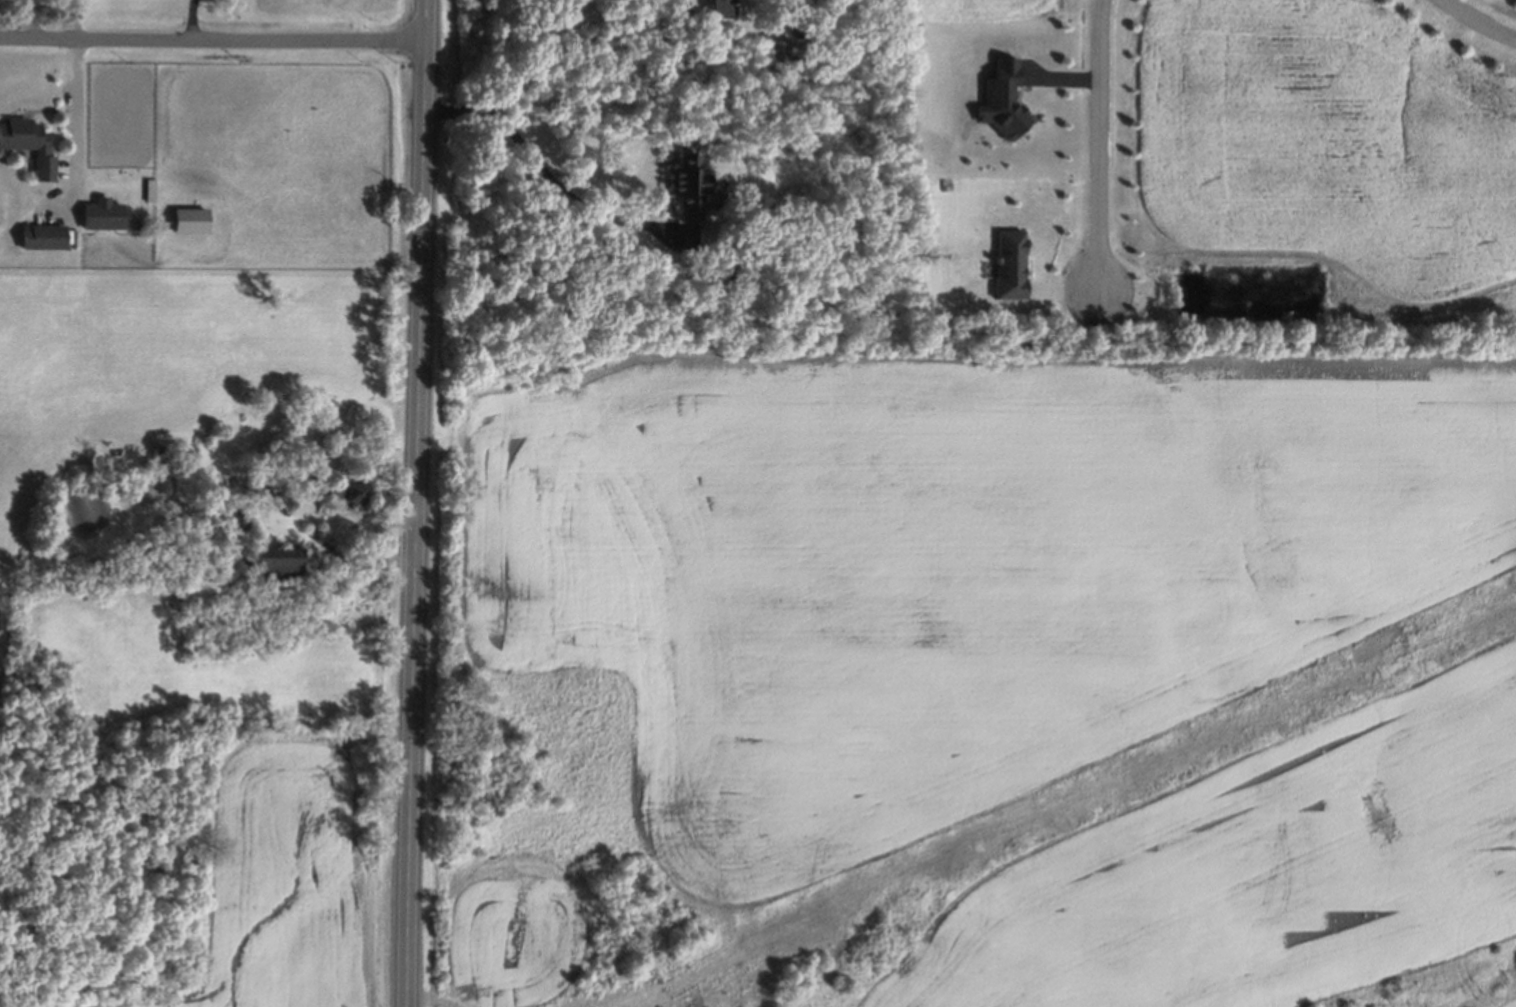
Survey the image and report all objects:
building: (720, 9)
crop: (330, 11)
road: (76, 19)
road: (192, 19)
road: (1483, 19)
road: (213, 39)
building: (1002, 100)
road: (77, 143)
building: (28, 145)
road: (1102, 146)
road: (549, 174)
building: (690, 189)
building: (150, 190)
building: (103, 214)
building: (191, 220)
building: (42, 237)
building: (1010, 265)
building: (354, 492)
road: (417, 503)
building: (273, 564)
crop: (928, 581)
building: (200, 588)
crop: (1260, 867)
crop: (287, 888)

